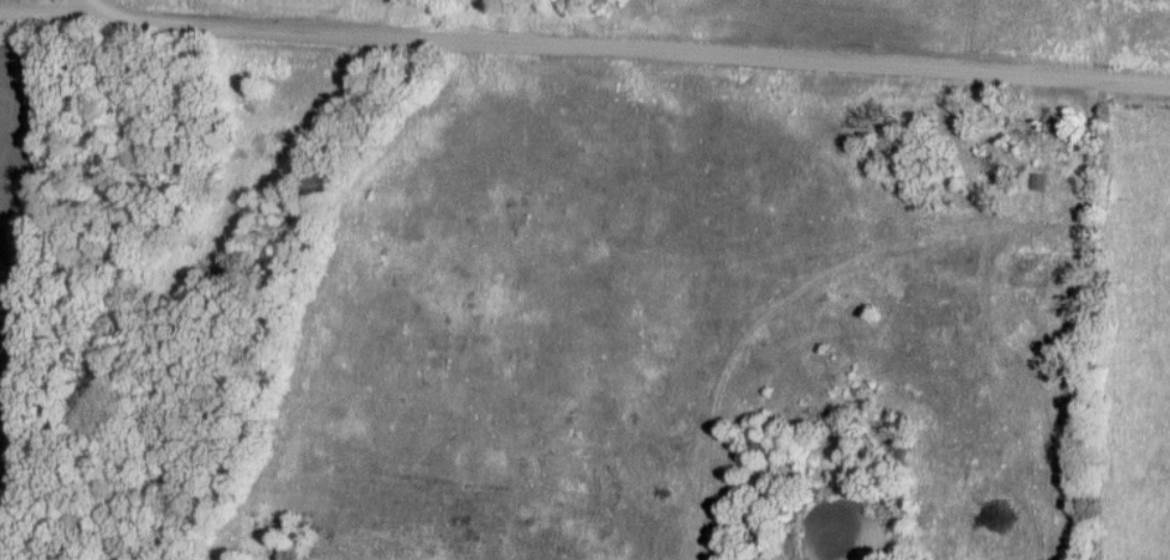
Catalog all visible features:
road: (83, 4)
road: (41, 5)
road: (625, 50)
road: (1096, 164)
building: (1039, 183)

